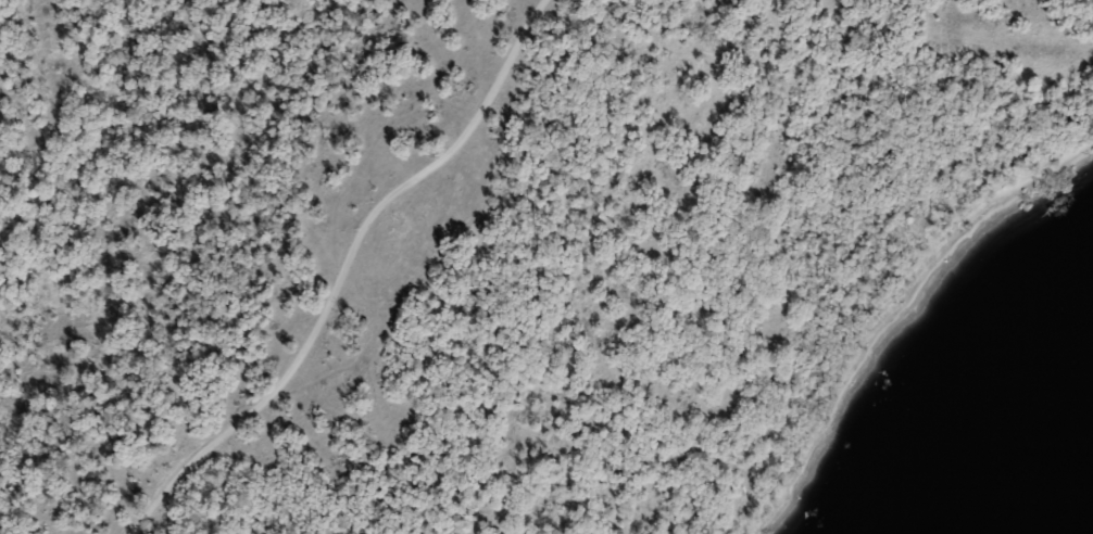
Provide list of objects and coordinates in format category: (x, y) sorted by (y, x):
park: (543, 266)
road: (346, 268)

